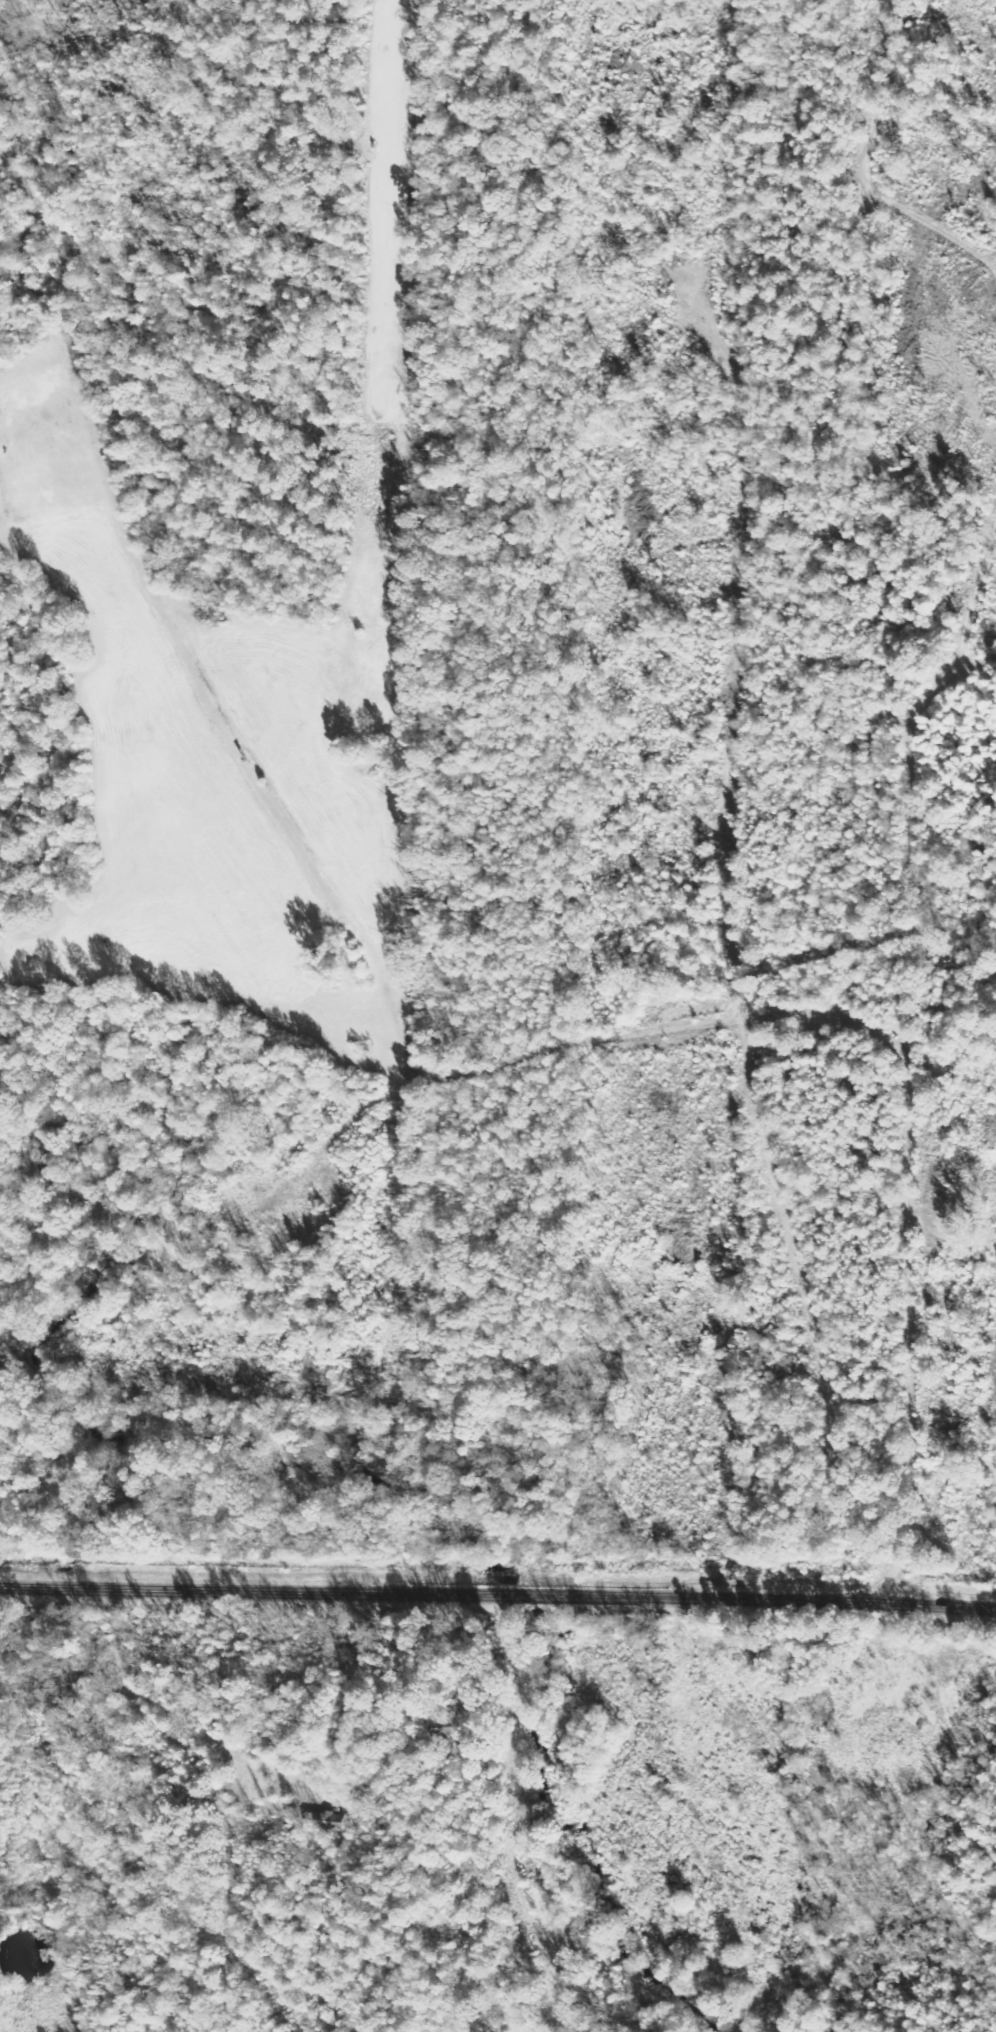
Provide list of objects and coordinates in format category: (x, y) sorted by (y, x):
road: (964, 617)
road: (930, 880)
road: (972, 1065)
road: (650, 1076)
road: (498, 1595)
road: (511, 1814)

